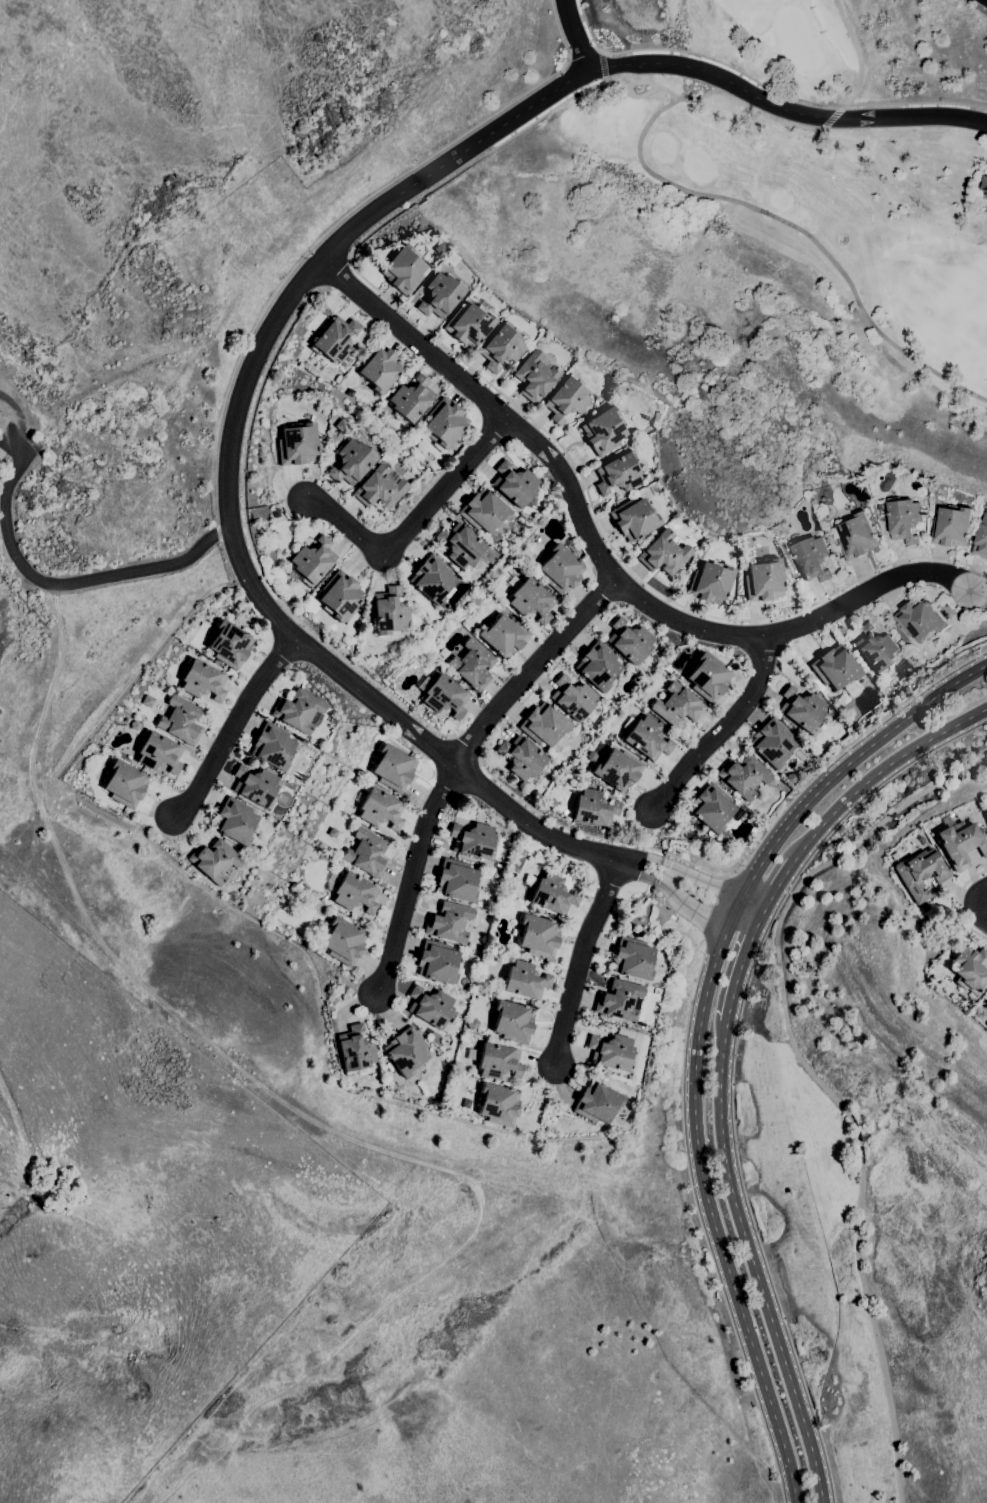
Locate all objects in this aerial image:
road: (986, 0)
road: (575, 35)
road: (602, 66)
road: (763, 85)
road: (782, 117)
road: (462, 152)
park: (834, 157)
road: (480, 158)
building: (985, 184)
road: (367, 198)
building: (979, 202)
building: (439, 249)
building: (450, 259)
building: (403, 270)
road: (337, 274)
building: (440, 295)
building: (468, 325)
building: (335, 339)
building: (501, 348)
building: (380, 368)
building: (536, 375)
building: (412, 398)
building: (566, 399)
building: (445, 422)
building: (340, 425)
building: (603, 431)
building: (297, 444)
building: (450, 449)
road: (552, 458)
building: (0, 461)
building: (351, 462)
building: (617, 473)
building: (514, 484)
building: (379, 488)
building: (483, 510)
building: (633, 519)
building: (905, 520)
road: (414, 522)
building: (952, 527)
building: (857, 537)
building: (538, 539)
building: (981, 540)
building: (460, 544)
road: (251, 549)
building: (749, 551)
building: (663, 553)
road: (618, 555)
building: (812, 558)
building: (313, 560)
building: (560, 569)
building: (432, 579)
building: (764, 581)
road: (76, 582)
building: (710, 583)
building: (339, 595)
road: (867, 596)
building: (530, 598)
building: (389, 613)
building: (919, 619)
road: (283, 620)
building: (503, 635)
building: (629, 640)
building: (229, 644)
building: (661, 647)
building: (876, 648)
building: (472, 664)
building: (597, 665)
building: (836, 669)
road: (532, 673)
building: (708, 677)
building: (202, 680)
building: (443, 695)
building: (573, 698)
building: (148, 701)
building: (676, 706)
building: (801, 709)
building: (297, 710)
building: (180, 721)
building: (543, 724)
road: (235, 728)
road: (722, 731)
building: (646, 738)
building: (772, 742)
building: (272, 746)
road: (464, 749)
building: (158, 752)
building: (591, 756)
building: (521, 757)
road: (849, 765)
building: (393, 767)
building: (617, 769)
road: (881, 773)
building: (743, 776)
building: (790, 778)
road: (502, 782)
building: (125, 783)
building: (255, 786)
building: (593, 808)
building: (713, 808)
building: (380, 809)
building: (986, 811)
building: (234, 821)
building: (332, 832)
building: (724, 835)
building: (473, 841)
building: (961, 843)
building: (366, 853)
road: (644, 859)
building: (214, 860)
building: (920, 872)
road: (638, 875)
road: (664, 875)
road: (972, 877)
road: (410, 880)
building: (456, 880)
road: (706, 881)
road: (780, 885)
building: (352, 891)
building: (550, 893)
road: (756, 902)
road: (980, 902)
road: (695, 903)
road: (738, 909)
road: (965, 918)
road: (761, 919)
building: (449, 922)
road: (743, 926)
building: (538, 936)
building: (343, 941)
building: (633, 958)
building: (436, 962)
road: (582, 963)
building: (971, 969)
road: (738, 975)
building: (524, 980)
building: (619, 1000)
building: (986, 1005)
building: (430, 1007)
building: (512, 1021)
building: (472, 1023)
building: (355, 1051)
building: (406, 1051)
building: (611, 1052)
building: (495, 1060)
road: (819, 1079)
building: (431, 1101)
building: (596, 1102)
building: (498, 1104)
building: (449, 1105)
road: (711, 1214)
road: (754, 1264)

